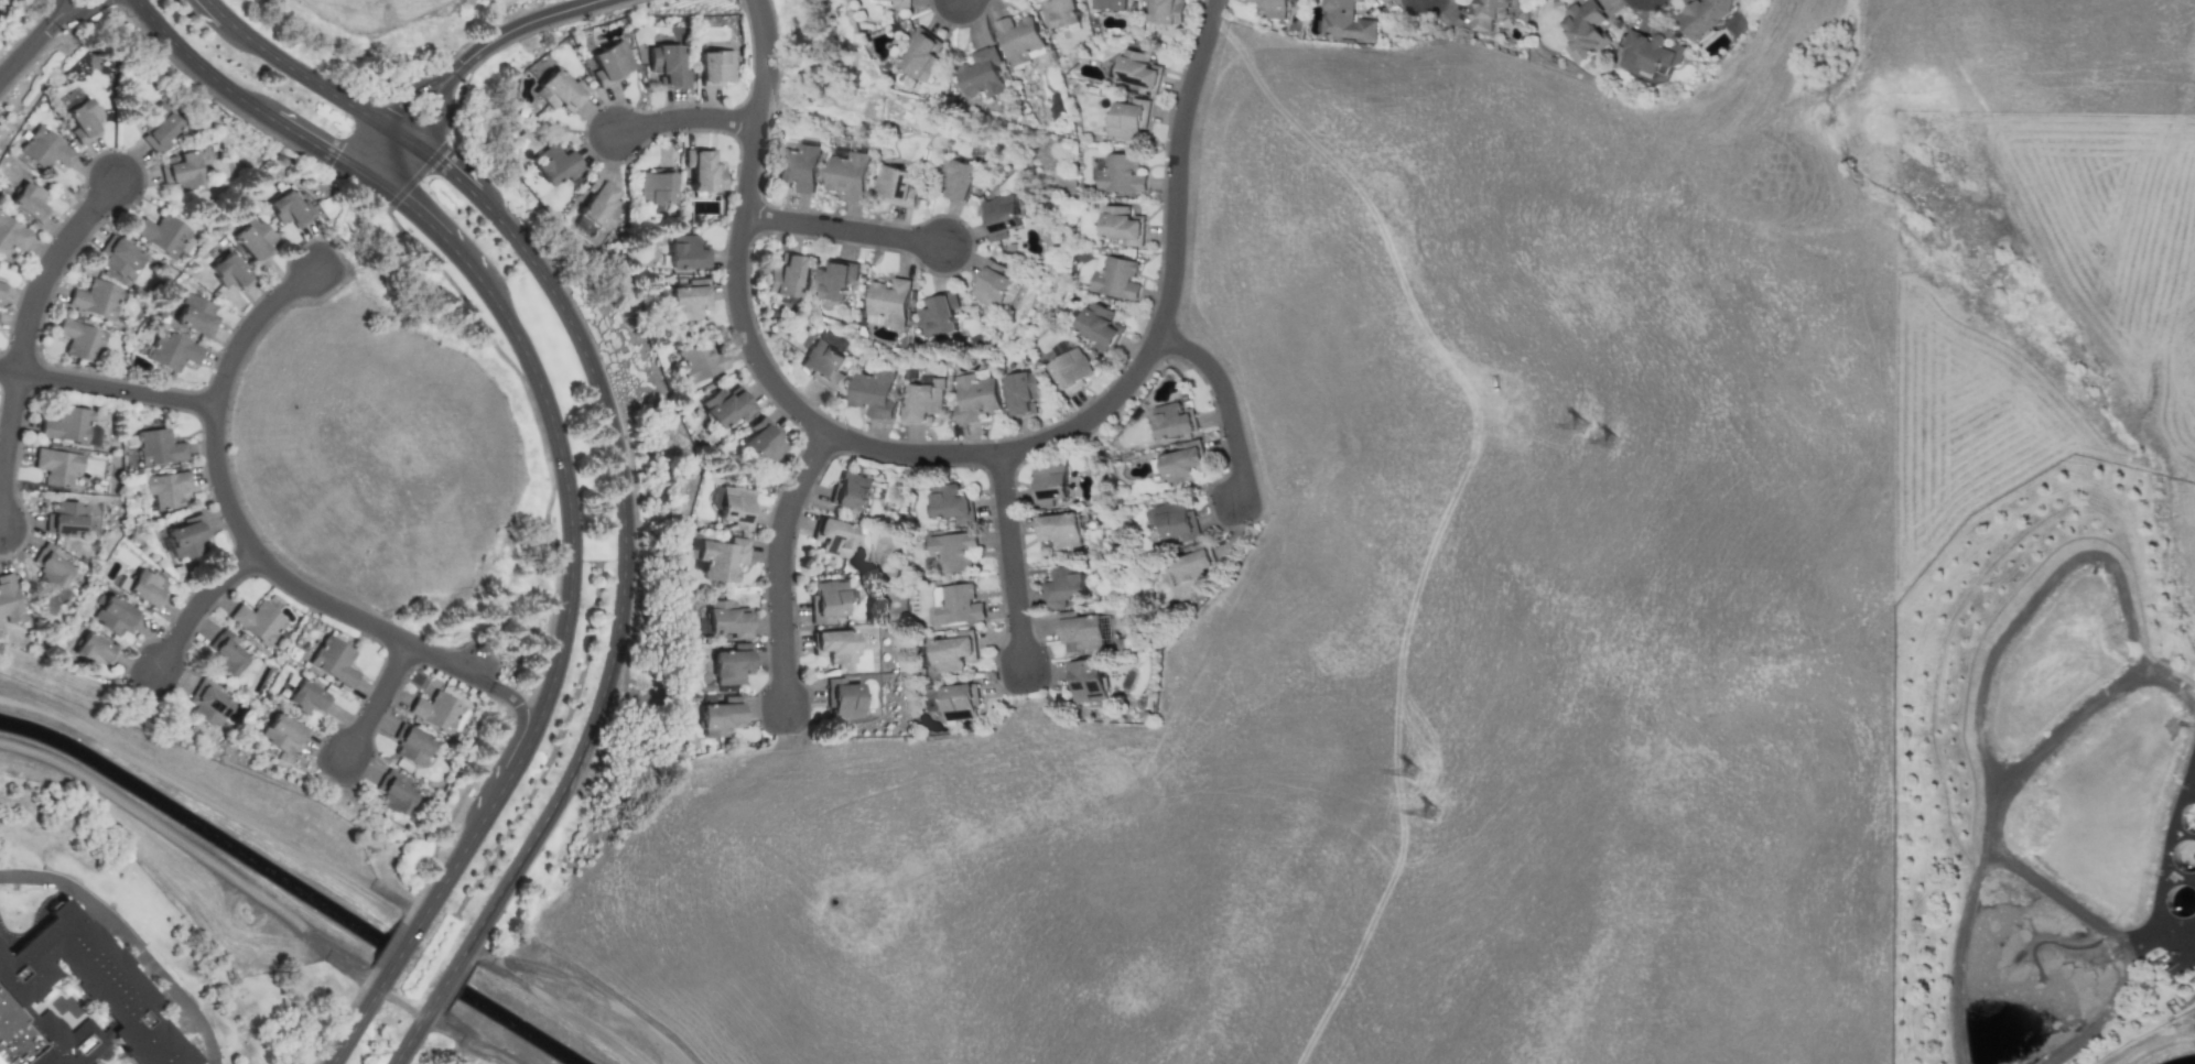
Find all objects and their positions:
road: (60, 0)
building: (899, 3)
building: (1110, 4)
road: (65, 6)
building: (1270, 8)
road: (74, 11)
building: (1166, 11)
road: (51, 12)
road: (213, 12)
building: (1059, 12)
building: (1485, 13)
building: (1702, 17)
building: (1344, 21)
road: (528, 22)
road: (41, 30)
building: (1582, 30)
road: (44, 32)
building: (1650, 52)
building: (920, 55)
road: (19, 56)
road: (196, 62)
building: (612, 63)
building: (667, 65)
building: (716, 67)
building: (1139, 70)
building: (980, 73)
road: (318, 84)
road: (436, 89)
building: (560, 90)
road: (401, 100)
road: (446, 104)
road: (435, 110)
road: (685, 117)
building: (83, 120)
building: (158, 126)
road: (320, 141)
building: (45, 148)
road: (393, 156)
building: (554, 164)
road: (1175, 165)
road: (452, 166)
building: (797, 166)
building: (181, 170)
building: (703, 170)
building: (1120, 173)
building: (847, 174)
building: (956, 180)
building: (895, 185)
building: (656, 187)
building: (29, 200)
building: (599, 203)
building: (292, 208)
building: (998, 217)
road: (436, 222)
building: (1120, 225)
road: (842, 229)
building: (12, 234)
building: (256, 240)
building: (684, 252)
building: (119, 256)
road: (51, 265)
building: (230, 271)
building: (783, 275)
building: (1114, 276)
building: (833, 280)
building: (990, 284)
building: (1, 287)
building: (96, 297)
building: (688, 300)
building: (888, 301)
building: (196, 314)
building: (938, 314)
road: (253, 324)
building: (1099, 326)
building: (80, 338)
building: (172, 350)
building: (700, 359)
building: (822, 363)
building: (1070, 370)
road: (108, 387)
building: (871, 392)
building: (1023, 392)
building: (973, 398)
road: (1223, 401)
road: (791, 402)
building: (921, 402)
building: (725, 405)
building: (1172, 420)
power tower: (1586, 423)
power tower: (1612, 437)
building: (763, 442)
building: (158, 446)
road: (6, 448)
building: (1183, 464)
building: (57, 466)
building: (1048, 484)
building: (165, 488)
building: (850, 491)
road: (570, 504)
building: (951, 504)
building: (735, 507)
building: (65, 518)
building: (1176, 520)
building: (1058, 529)
building: (832, 535)
building: (188, 536)
building: (952, 550)
building: (722, 558)
road: (1008, 560)
road: (778, 563)
building: (51, 565)
building: (1188, 571)
road: (626, 577)
road: (301, 587)
building: (1061, 587)
building: (144, 588)
road: (2029, 594)
building: (9, 598)
building: (826, 600)
road: (199, 602)
building: (956, 604)
building: (115, 615)
building: (726, 619)
building: (258, 621)
building: (1079, 629)
building: (834, 644)
building: (93, 649)
building: (953, 651)
building: (227, 655)
building: (333, 660)
building: (729, 665)
building: (1083, 680)
building: (307, 697)
building: (844, 698)
road: (379, 699)
building: (931, 699)
building: (959, 701)
building: (208, 704)
road: (518, 704)
building: (437, 710)
building: (720, 716)
building: (282, 732)
building: (412, 745)
power tower: (1419, 764)
road: (505, 777)
building: (394, 791)
road: (213, 802)
power tower: (1436, 807)
road: (2002, 812)
road: (2163, 850)
road: (196, 851)
road: (450, 873)
road: (48, 878)
road: (2064, 901)
road: (107, 915)
road: (402, 951)
road: (145, 957)
road: (448, 978)
road: (2121, 989)
building: (77, 999)
road: (560, 1003)
road: (188, 1008)
road: (359, 1018)
road: (445, 1029)
road: (413, 1033)
road: (2155, 1046)
road: (210, 1047)

